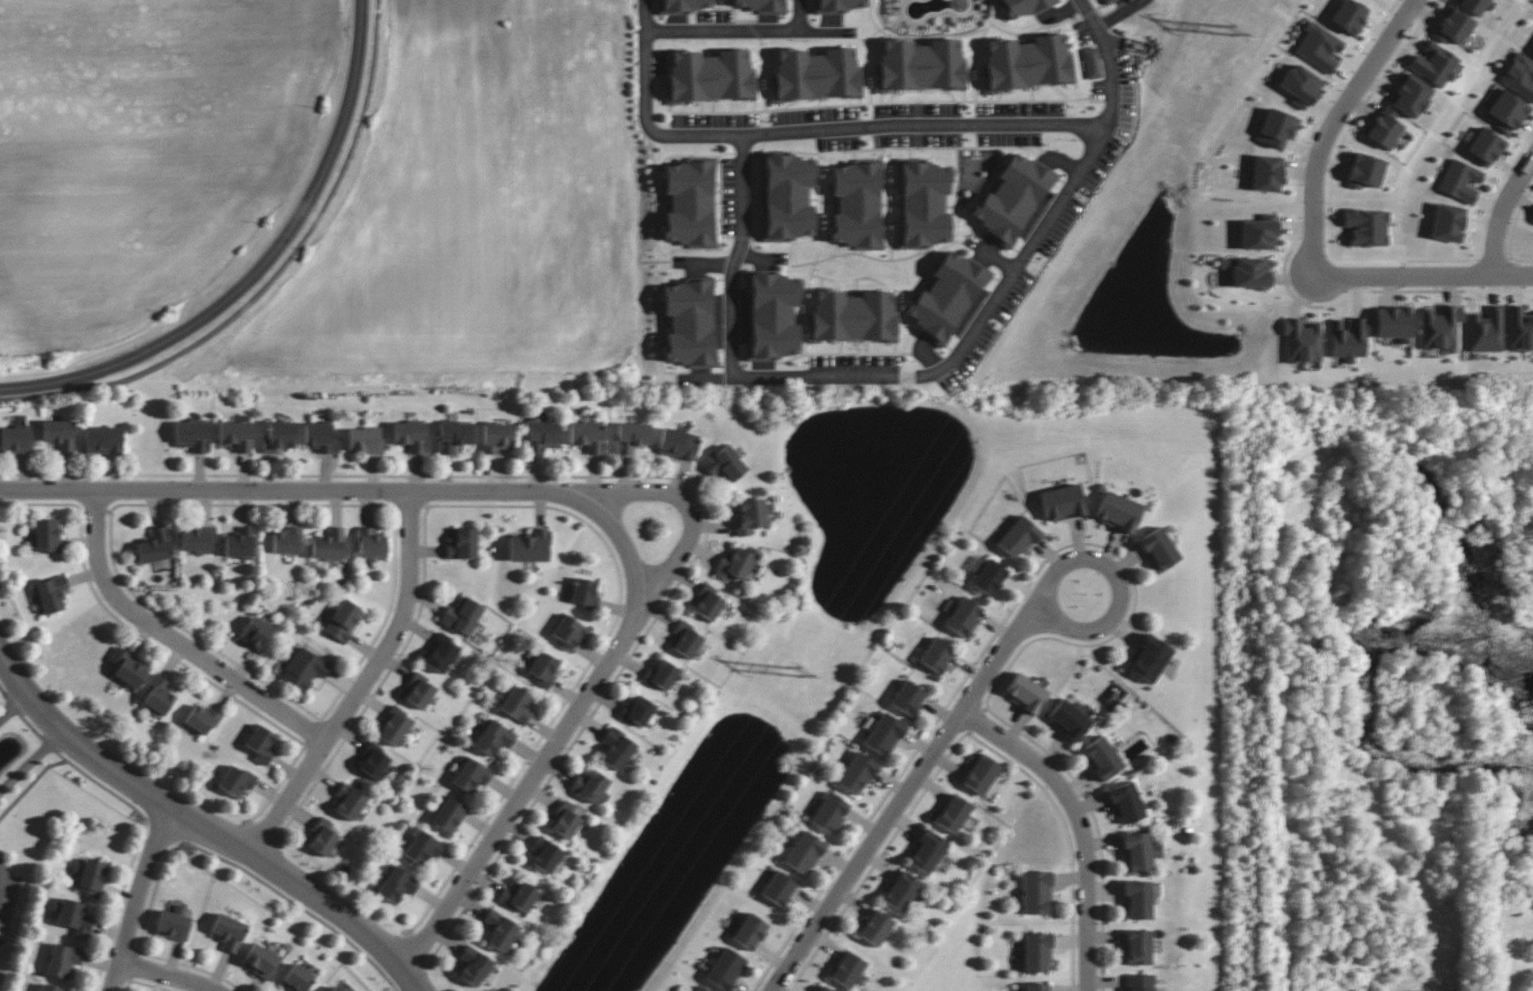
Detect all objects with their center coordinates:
building: (1105, 0)
building: (758, 5)
building: (841, 5)
building: (1475, 5)
building: (683, 6)
building: (1023, 7)
road: (1116, 13)
road: (795, 14)
building: (1348, 16)
building: (1453, 27)
road: (747, 28)
power tower: (1228, 31)
building: (1319, 47)
building: (1027, 62)
road: (642, 63)
building: (1092, 63)
building: (1434, 64)
building: (921, 65)
building: (816, 74)
building: (710, 76)
building: (1519, 76)
building: (1300, 86)
building: (1410, 95)
building: (1506, 111)
road: (873, 125)
road: (1331, 125)
building: (1276, 128)
building: (1384, 128)
building: (1485, 146)
building: (1364, 171)
building: (1266, 173)
building: (1459, 180)
building: (787, 197)
building: (1012, 198)
building: (689, 203)
building: (923, 204)
building: (856, 205)
road: (1504, 212)
building: (1532, 217)
building: (1447, 223)
building: (1366, 227)
building: (1258, 233)
road: (735, 252)
road: (759, 257)
road: (995, 258)
road: (705, 264)
road: (258, 268)
building: (1250, 272)
road: (1424, 276)
road: (270, 277)
road: (1004, 281)
building: (946, 296)
building: (772, 316)
building: (852, 316)
building: (689, 322)
building: (1392, 323)
building: (1440, 327)
building: (1519, 328)
building: (1485, 331)
building: (1348, 340)
building: (1301, 342)
building: (59, 434)
building: (236, 435)
building: (192, 436)
building: (410, 436)
building: (452, 436)
building: (279, 437)
building: (542, 437)
building: (588, 437)
building: (630, 437)
building: (321, 438)
building: (497, 438)
building: (15, 439)
building: (103, 440)
building: (365, 440)
building: (678, 444)
building: (725, 464)
road: (278, 492)
building: (1062, 503)
road: (681, 508)
building: (1118, 512)
building: (750, 516)
building: (46, 534)
building: (1018, 537)
building: (197, 540)
building: (286, 540)
building: (240, 543)
building: (328, 544)
building: (370, 544)
building: (462, 544)
building: (155, 546)
building: (530, 547)
building: (1158, 549)
building: (734, 564)
building: (989, 578)
road: (1118, 580)
building: (585, 593)
building: (51, 594)
building: (708, 602)
building: (462, 616)
building: (963, 617)
building: (343, 621)
building: (568, 632)
building: (256, 634)
road: (172, 639)
building: (685, 639)
building: (441, 654)
building: (936, 655)
building: (1148, 658)
building: (127, 668)
building: (543, 668)
power tower: (792, 668)
building: (304, 669)
building: (660, 675)
road: (363, 685)
building: (419, 691)
building: (1025, 693)
building: (158, 695)
building: (907, 698)
road: (10, 704)
building: (516, 704)
building: (637, 710)
building: (201, 718)
building: (1068, 719)
road: (563, 726)
building: (394, 727)
building: (884, 734)
building: (493, 738)
building: (260, 744)
building: (617, 749)
building: (1101, 758)
building: (372, 761)
road: (30, 763)
building: (857, 773)
building: (981, 774)
building: (470, 775)
building: (236, 781)
building: (590, 785)
road: (102, 792)
road: (904, 799)
building: (349, 801)
building: (1125, 802)
park: (19, 811)
building: (829, 813)
building: (953, 813)
building: (449, 815)
building: (565, 820)
road: (1078, 826)
road: (200, 831)
building: (321, 837)
building: (422, 847)
building: (1139, 851)
building: (803, 852)
building: (926, 852)
building: (545, 855)
building: (89, 877)
road: (1, 880)
building: (396, 885)
building: (778, 888)
building: (901, 891)
building: (1036, 893)
building: (518, 897)
road: (287, 900)
building: (1137, 900)
road: (139, 901)
building: (74, 918)
building: (173, 924)
building: (876, 927)
building: (499, 930)
building: (749, 931)
building: (229, 932)
building: (1138, 947)
building: (1036, 952)
building: (63, 960)
building: (261, 960)
building: (473, 966)
building: (724, 969)
building: (847, 970)
road: (166, 977)
road: (1519, 977)
building: (297, 979)
building: (1139, 982)
building: (1036, 987)
building: (49, 988)
building: (335, 988)
building: (699, 989)
building: (823, 989)

